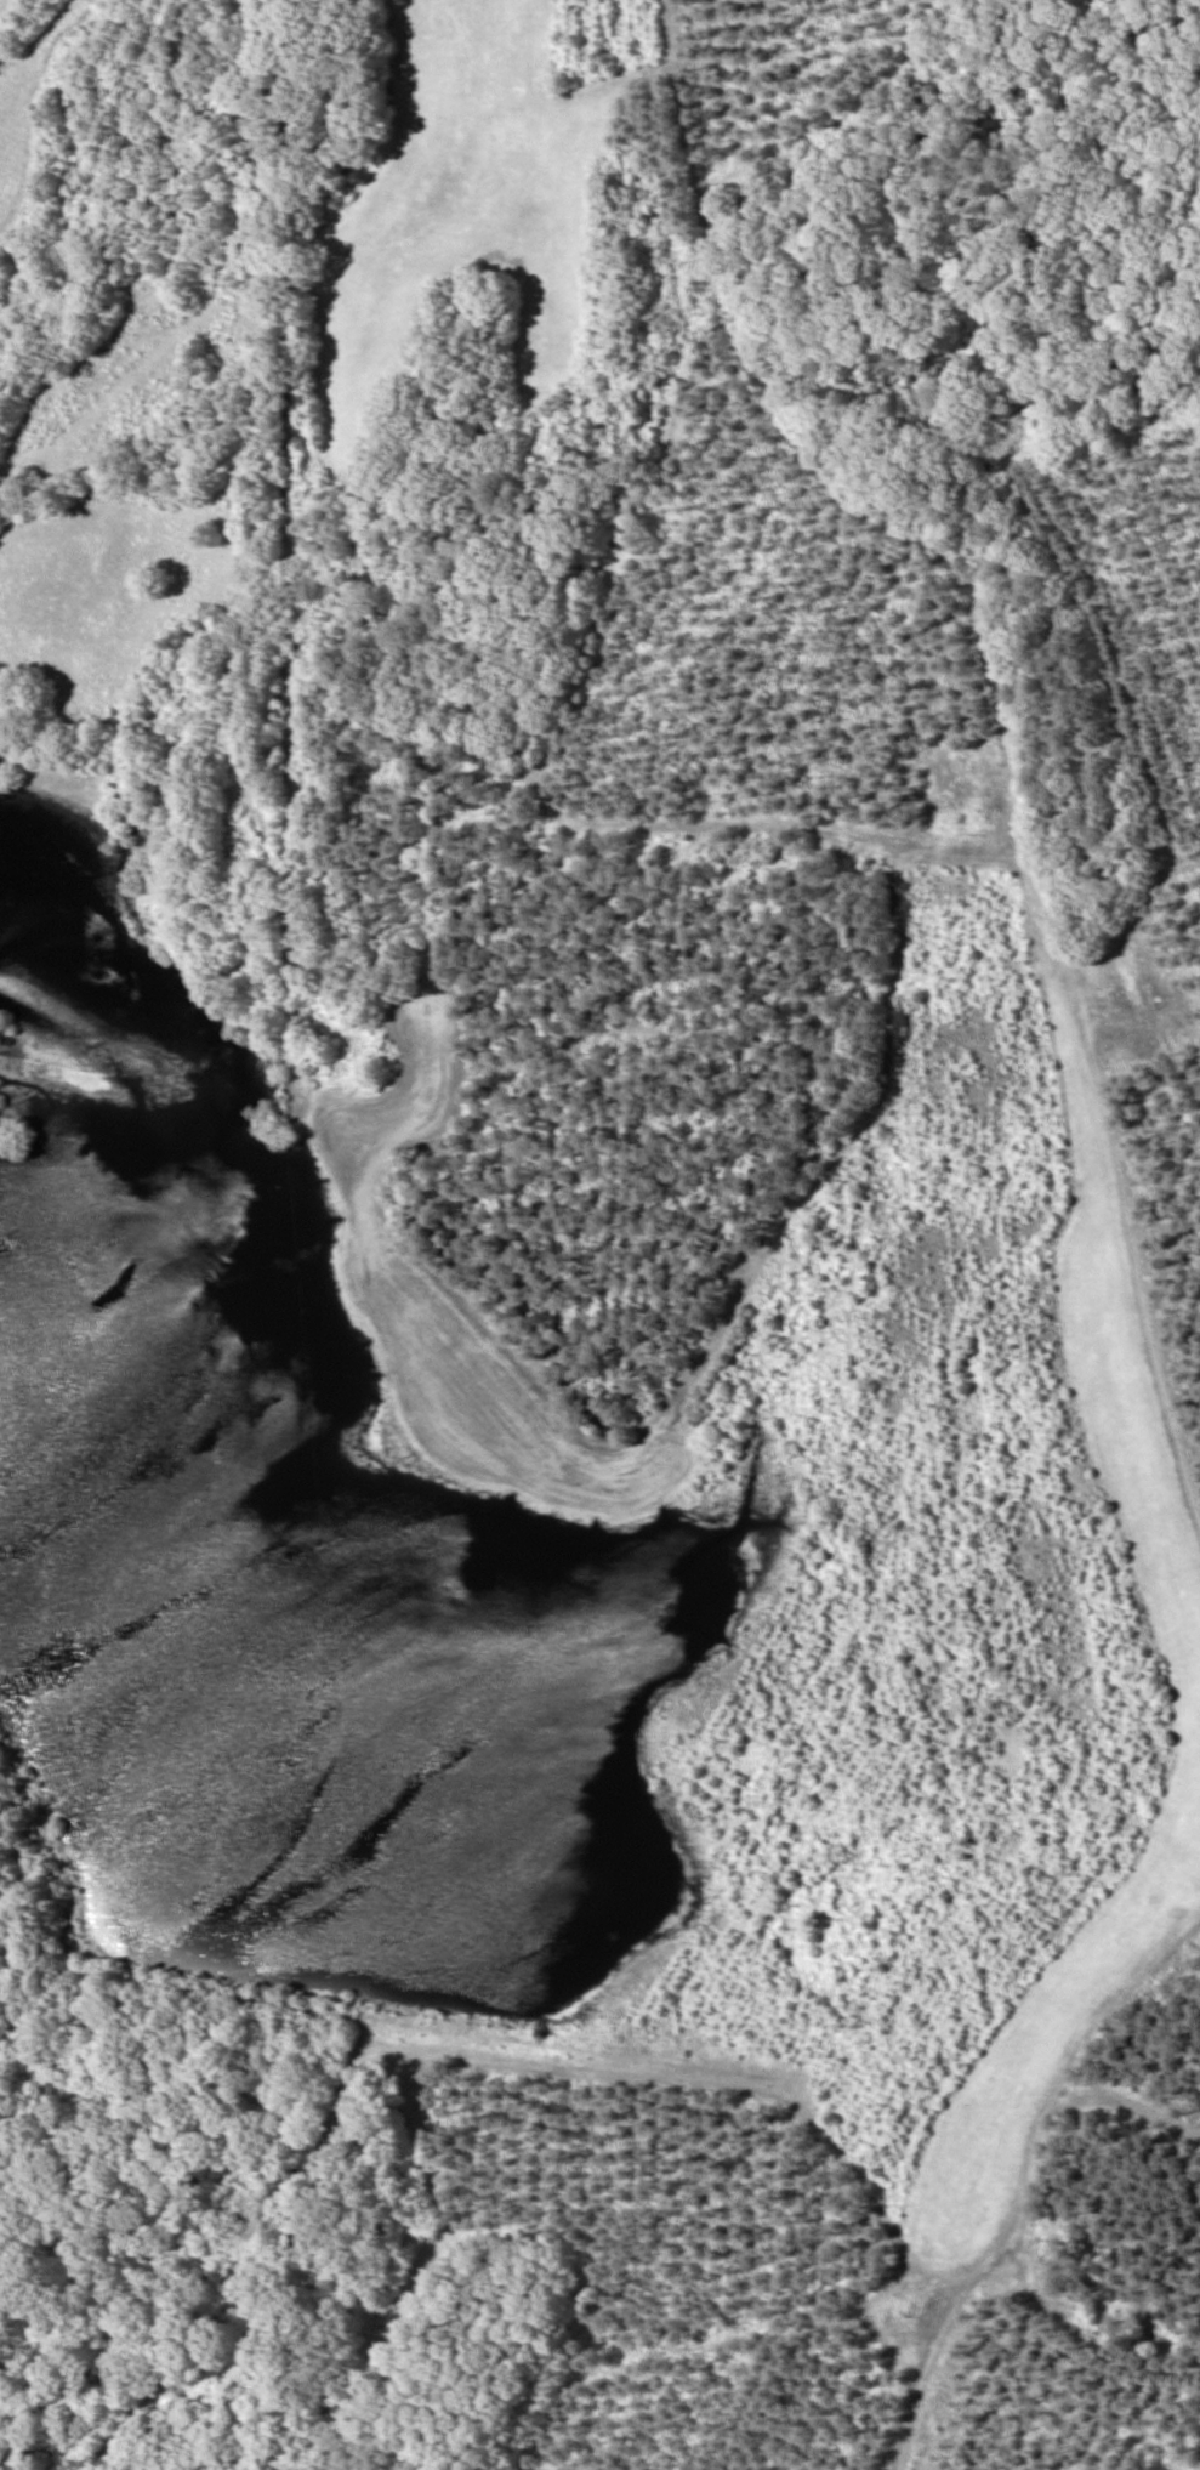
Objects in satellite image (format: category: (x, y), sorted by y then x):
road: (745, 92)

